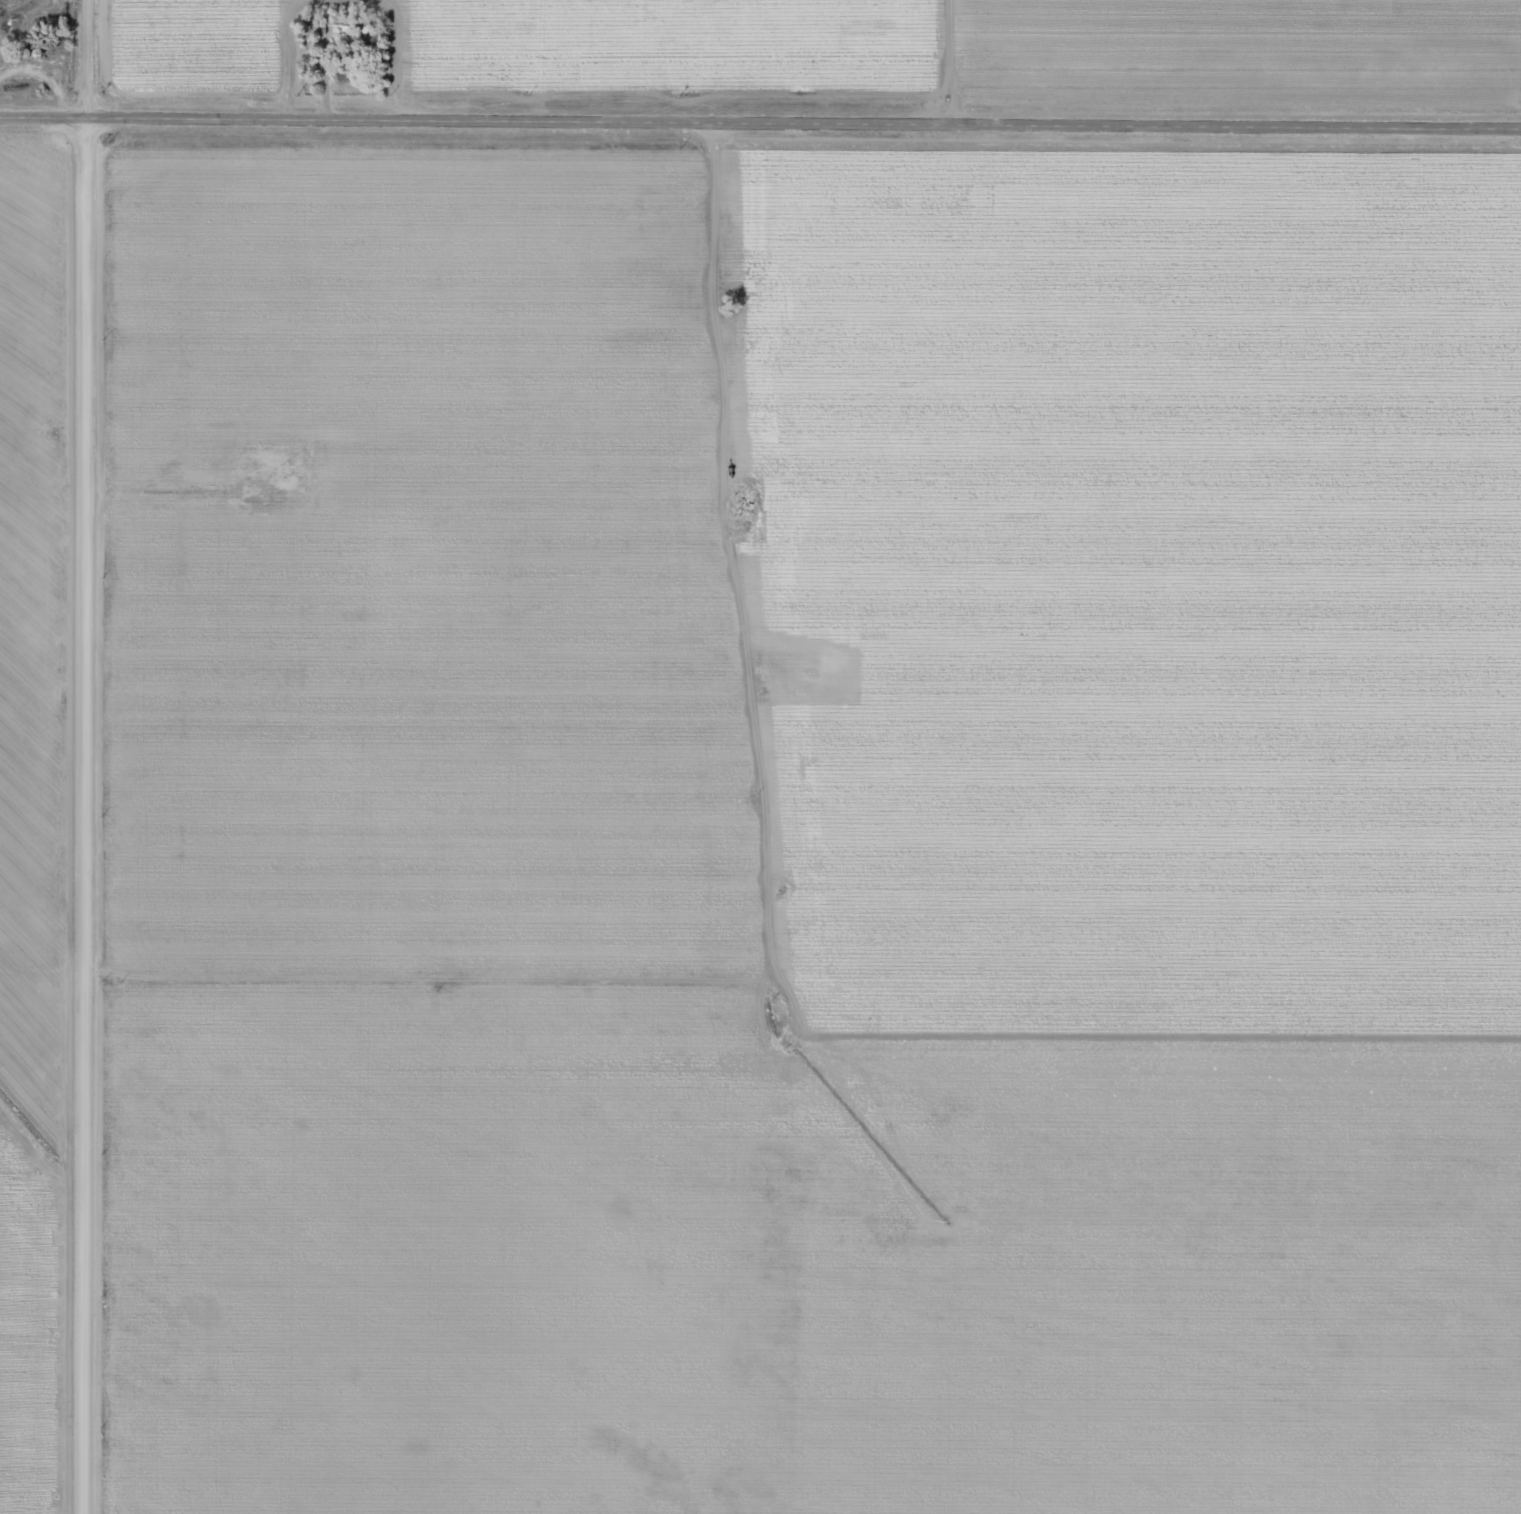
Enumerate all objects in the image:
road: (760, 130)
road: (88, 756)

